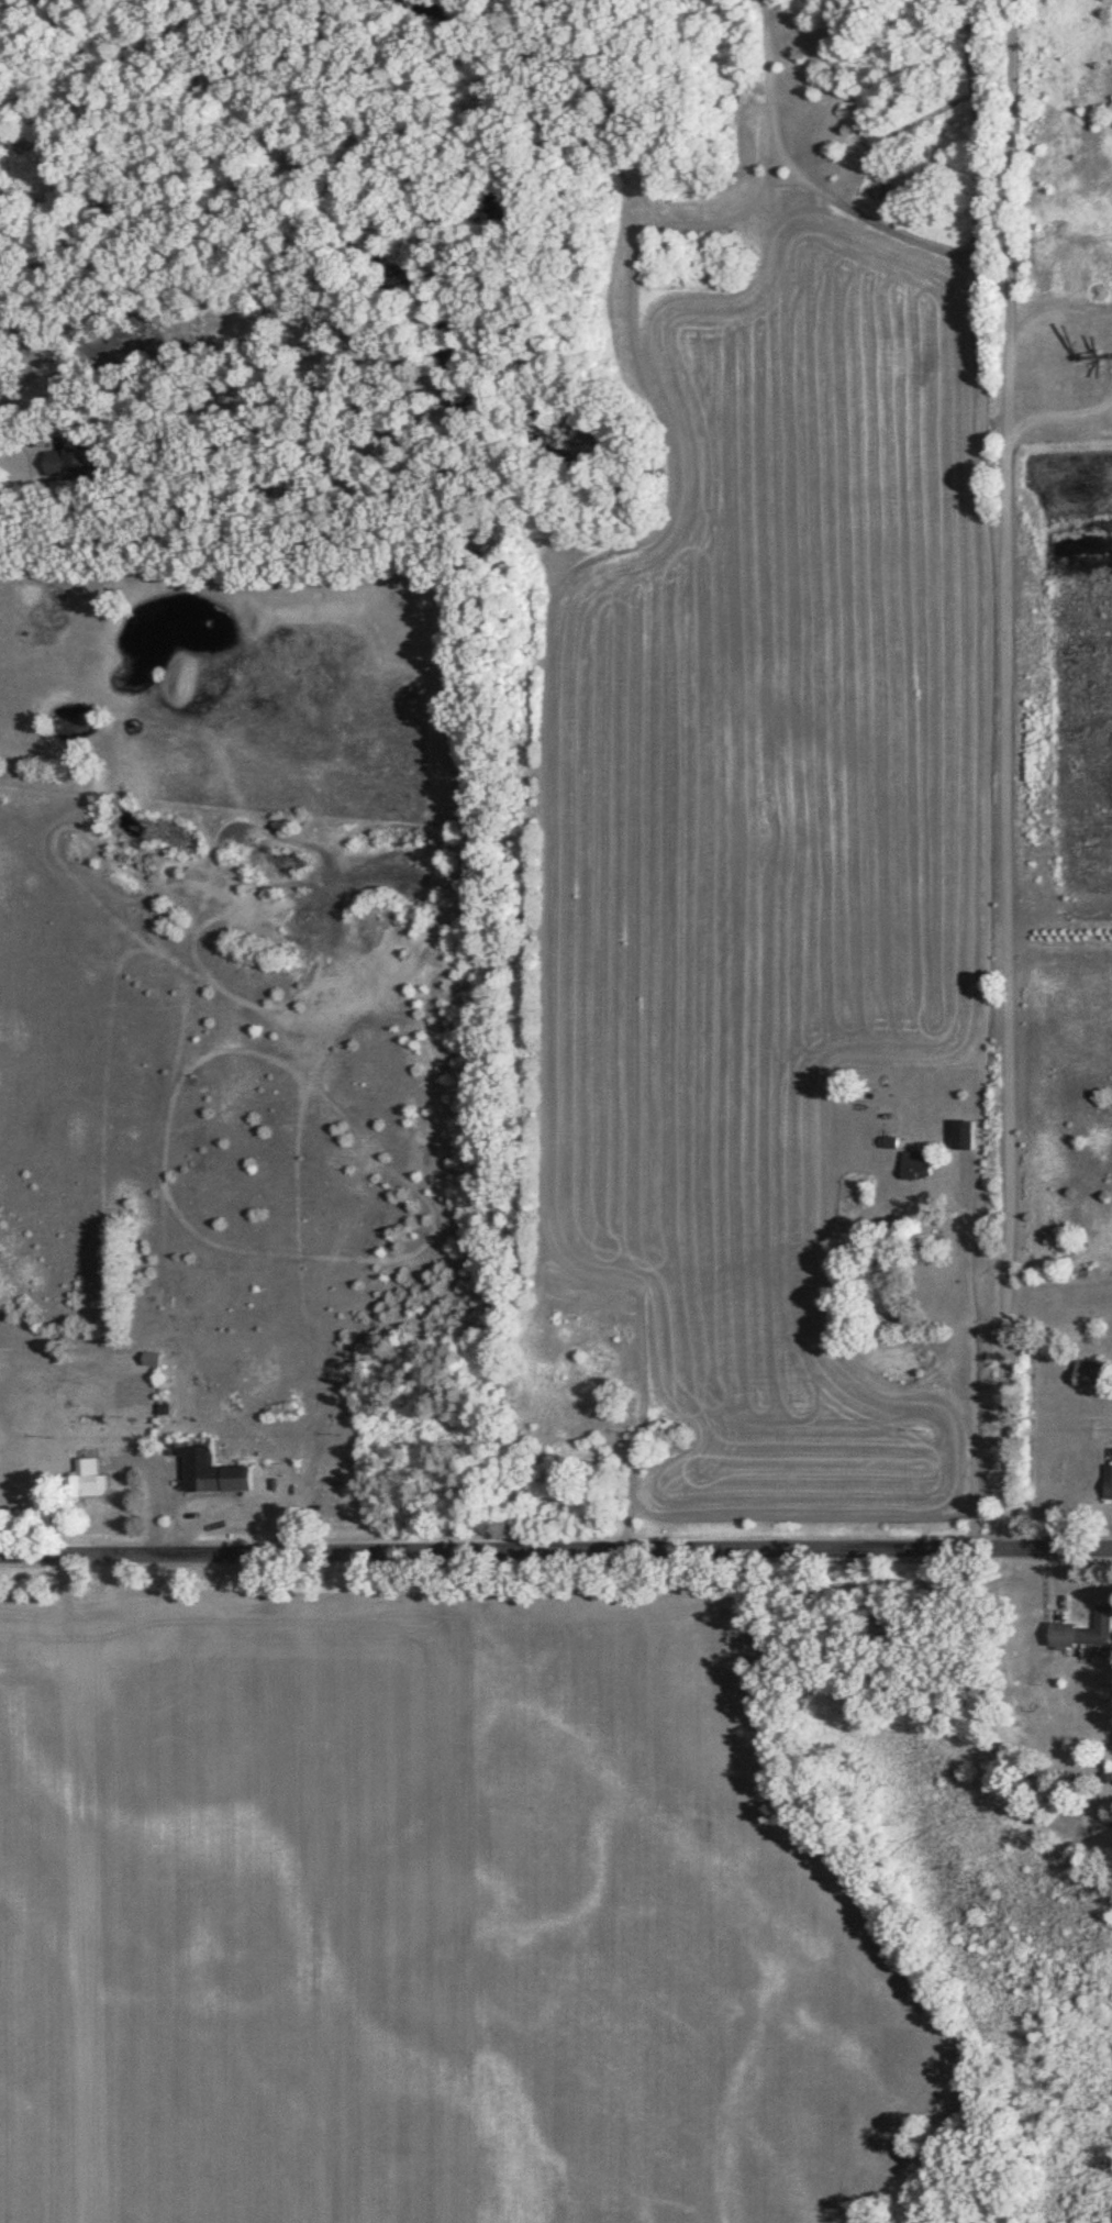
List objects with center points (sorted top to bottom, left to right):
building: (616, 379)
building: (74, 458)
road: (999, 775)
building: (914, 1165)
building: (151, 1361)
building: (1088, 1375)
building: (578, 1379)
building: (633, 1411)
building: (208, 1469)
building: (85, 1481)
road: (556, 1553)
building: (1086, 1632)

